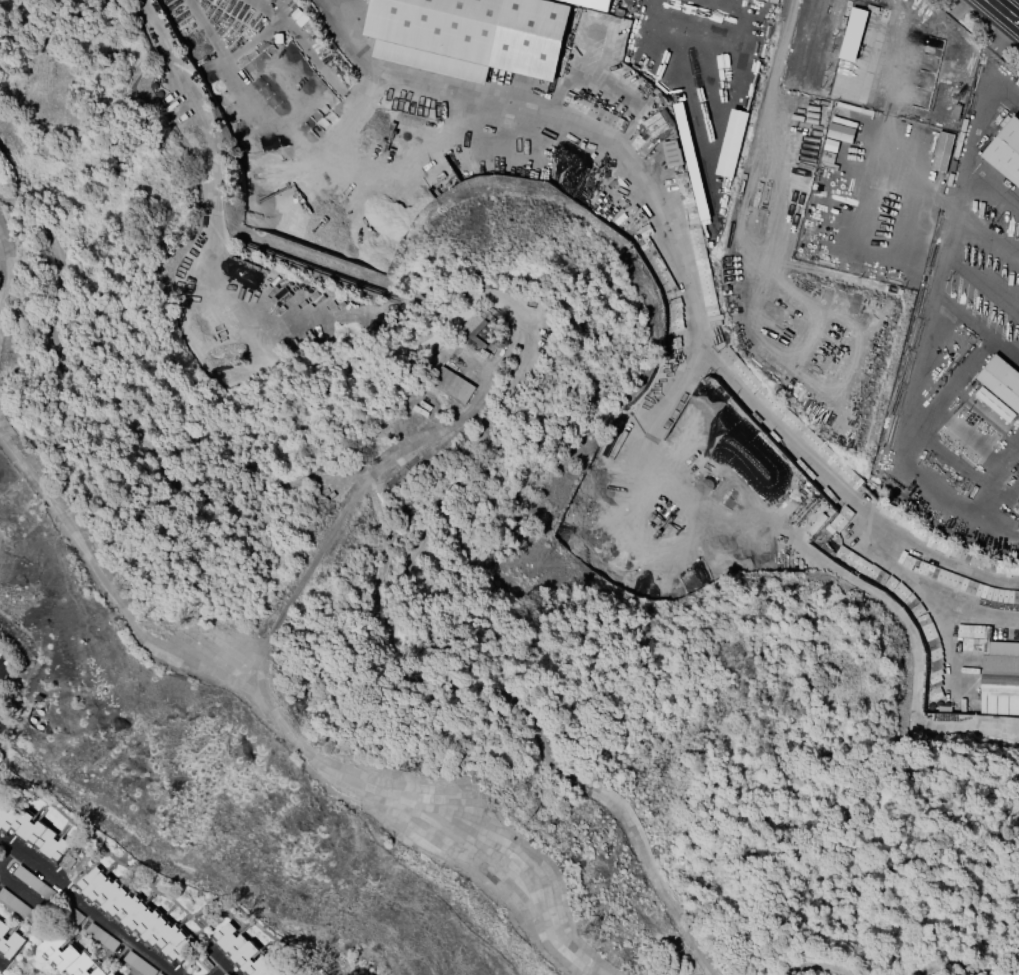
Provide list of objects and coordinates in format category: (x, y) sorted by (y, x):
building: (773, 0)
road: (737, 5)
road: (1004, 12)
road: (695, 23)
road: (1018, 23)
building: (470, 35)
road: (694, 42)
road: (311, 55)
road: (732, 78)
road: (372, 84)
road: (765, 112)
building: (841, 132)
building: (732, 143)
building: (1006, 151)
road: (708, 181)
road: (994, 188)
road: (988, 238)
road: (983, 283)
road: (977, 329)
road: (927, 332)
road: (701, 355)
building: (1002, 380)
building: (453, 384)
road: (986, 520)
building: (1016, 596)
building: (1000, 685)
building: (33, 831)
road: (4, 850)
road: (22, 887)
road: (89, 906)
building: (135, 914)
power tower: (591, 932)
building: (9, 942)
building: (247, 953)
building: (68, 956)
road: (1, 960)
road: (226, 961)
road: (221, 969)
building: (112, 974)

